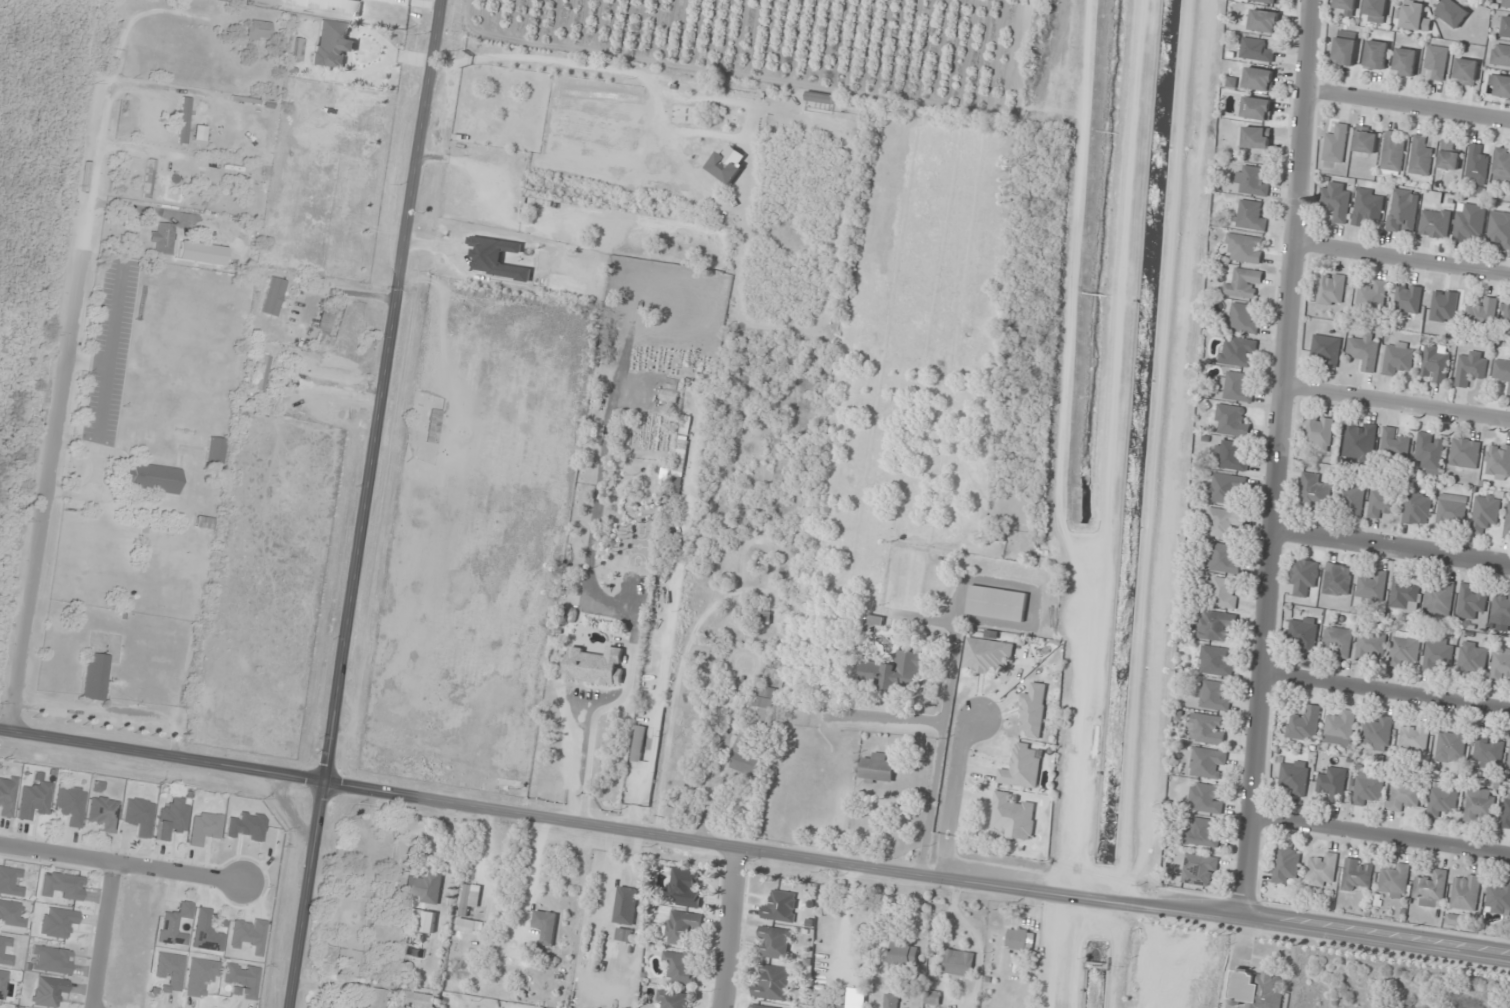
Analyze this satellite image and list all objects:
building: (1267, 1)
building: (1506, 3)
road: (400, 4)
building: (1344, 7)
building: (1375, 10)
building: (1452, 12)
building: (1414, 17)
building: (1264, 21)
building: (1506, 27)
building: (258, 31)
building: (333, 44)
building: (1345, 48)
building: (1255, 50)
building: (1376, 55)
building: (1500, 55)
building: (1405, 61)
building: (1437, 61)
building: (1466, 72)
building: (1258, 79)
building: (1500, 85)
road: (1408, 107)
building: (1256, 108)
building: (183, 120)
building: (1256, 137)
building: (1366, 140)
building: (1336, 144)
building: (1392, 152)
building: (1448, 156)
building: (1420, 157)
building: (1477, 164)
building: (1502, 164)
building: (725, 167)
building: (148, 179)
building: (1252, 181)
building: (1336, 199)
building: (1367, 206)
building: (1403, 210)
building: (1250, 215)
building: (1435, 223)
building: (1470, 223)
building: (1500, 229)
building: (162, 238)
building: (1244, 248)
building: (201, 253)
road: (1401, 259)
building: (1244, 284)
building: (1331, 289)
building: (273, 296)
building: (1372, 298)
building: (1408, 298)
building: (1444, 306)
building: (1482, 313)
building: (1243, 317)
building: (1507, 318)
building: (325, 321)
building: (1327, 349)
building: (1364, 350)
building: (1238, 352)
building: (1398, 359)
building: (1436, 364)
building: (1471, 368)
building: (1501, 370)
building: (262, 373)
building: (1236, 387)
building: (1509, 392)
road: (1396, 401)
building: (1232, 421)
building: (686, 425)
building: (1319, 432)
building: (1360, 441)
building: (1394, 443)
building: (215, 450)
building: (1431, 452)
building: (1465, 452)
building: (1232, 455)
road: (1277, 456)
building: (1498, 461)
building: (151, 478)
building: (677, 485)
building: (1227, 488)
road: (43, 490)
building: (1314, 490)
building: (1351, 497)
building: (1382, 502)
road: (364, 504)
building: (1417, 508)
building: (1451, 510)
building: (1485, 513)
building: (1225, 521)
building: (1508, 522)
building: (204, 523)
road: (1392, 546)
building: (1223, 558)
building: (1304, 575)
building: (1337, 579)
building: (1372, 586)
building: (1404, 592)
building: (1225, 593)
building: (1439, 598)
building: (1470, 601)
building: (997, 603)
building: (1501, 609)
building: (766, 617)
building: (1214, 625)
building: (1304, 633)
building: (1338, 640)
building: (1370, 645)
building: (1405, 648)
building: (1438, 653)
building: (987, 655)
building: (1473, 659)
building: (1216, 660)
building: (1502, 665)
building: (596, 666)
building: (897, 671)
building: (95, 677)
road: (1385, 691)
building: (1212, 695)
building: (765, 701)
building: (1034, 711)
building: (1305, 723)
building: (1207, 728)
building: (1340, 728)
building: (1377, 731)
building: (1414, 737)
building: (639, 743)
building: (1451, 746)
building: (1489, 750)
road: (162, 754)
building: (745, 757)
building: (1509, 762)
building: (1208, 763)
building: (1022, 767)
building: (877, 768)
building: (1294, 777)
building: (1333, 784)
building: (1367, 788)
building: (7, 795)
building: (1404, 796)
road: (954, 797)
building: (1205, 798)
building: (1442, 800)
building: (34, 801)
building: (70, 804)
building: (1479, 804)
building: (104, 814)
building: (1506, 814)
building: (139, 816)
building: (1013, 816)
building: (173, 818)
building: (205, 827)
building: (1203, 832)
road: (1380, 834)
road: (121, 863)
building: (1287, 865)
building: (1199, 869)
building: (1322, 870)
road: (916, 875)
building: (1357, 875)
building: (10, 881)
building: (1394, 881)
building: (63, 886)
building: (686, 887)
building: (425, 888)
building: (1431, 889)
building: (1466, 891)
building: (1498, 899)
building: (626, 905)
building: (782, 907)
building: (465, 912)
building: (12, 914)
building: (58, 922)
building: (175, 925)
building: (546, 926)
building: (681, 927)
road: (731, 927)
building: (207, 932)
building: (248, 934)
building: (624, 934)
road: (103, 935)
building: (1021, 939)
building: (776, 941)
building: (5, 952)
building: (903, 957)
building: (51, 960)
building: (959, 963)
building: (682, 968)
building: (170, 971)
building: (201, 976)
building: (242, 980)
building: (2, 984)
building: (774, 984)
building: (1258, 988)
building: (49, 991)
building: (933, 997)
building: (377, 998)
building: (675, 999)
building: (419, 1000)
building: (892, 1000)
building: (838, 1005)
building: (759, 1006)

